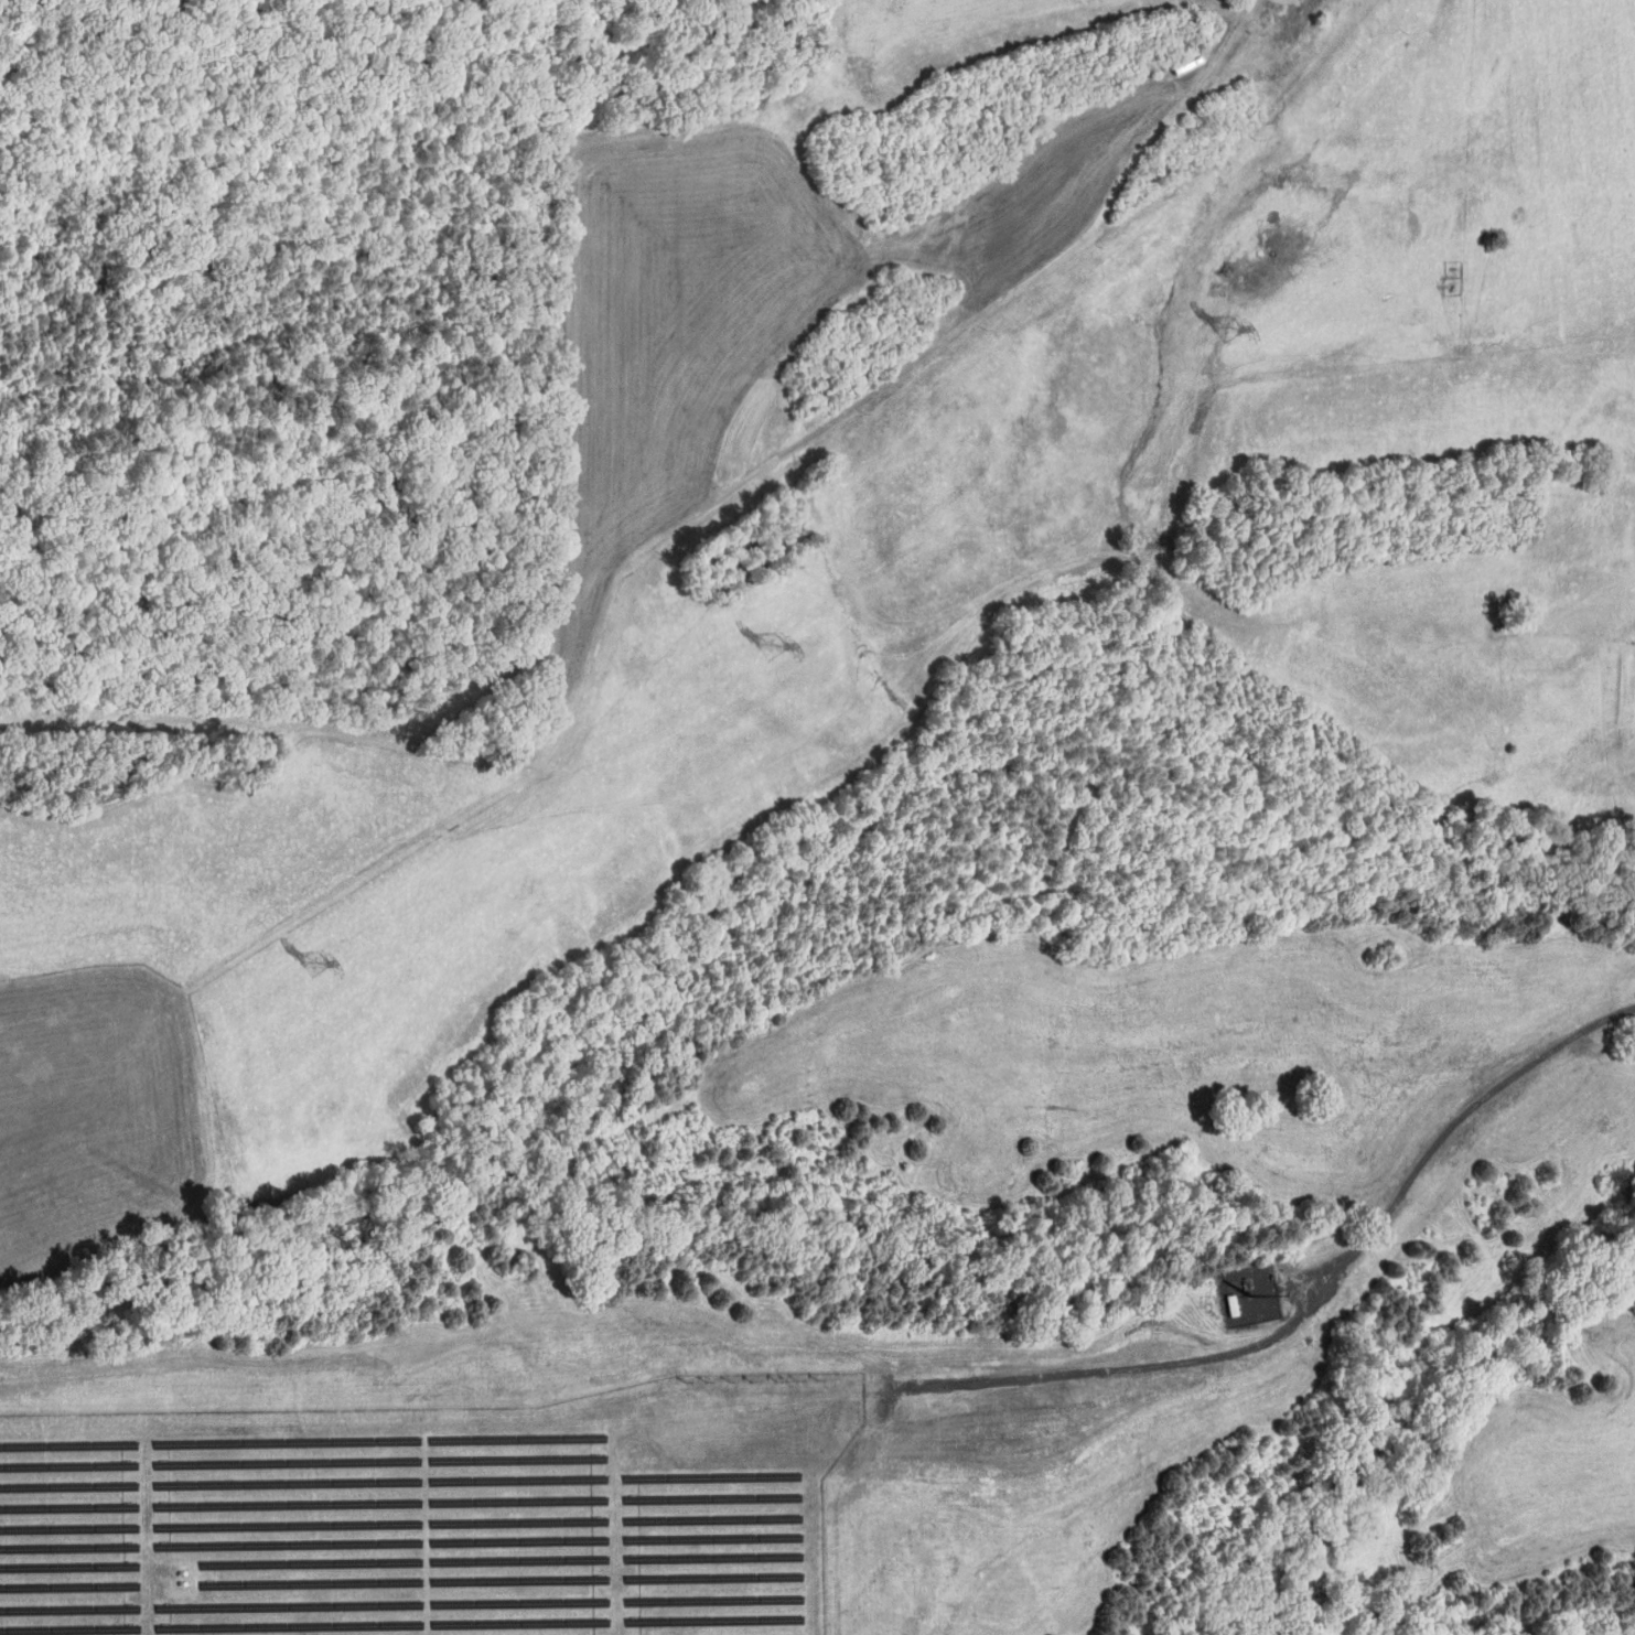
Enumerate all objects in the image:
road: (1033, 273)
power tower: (1230, 332)
power tower: (776, 647)
power tower: (319, 964)
road: (1620, 1014)

